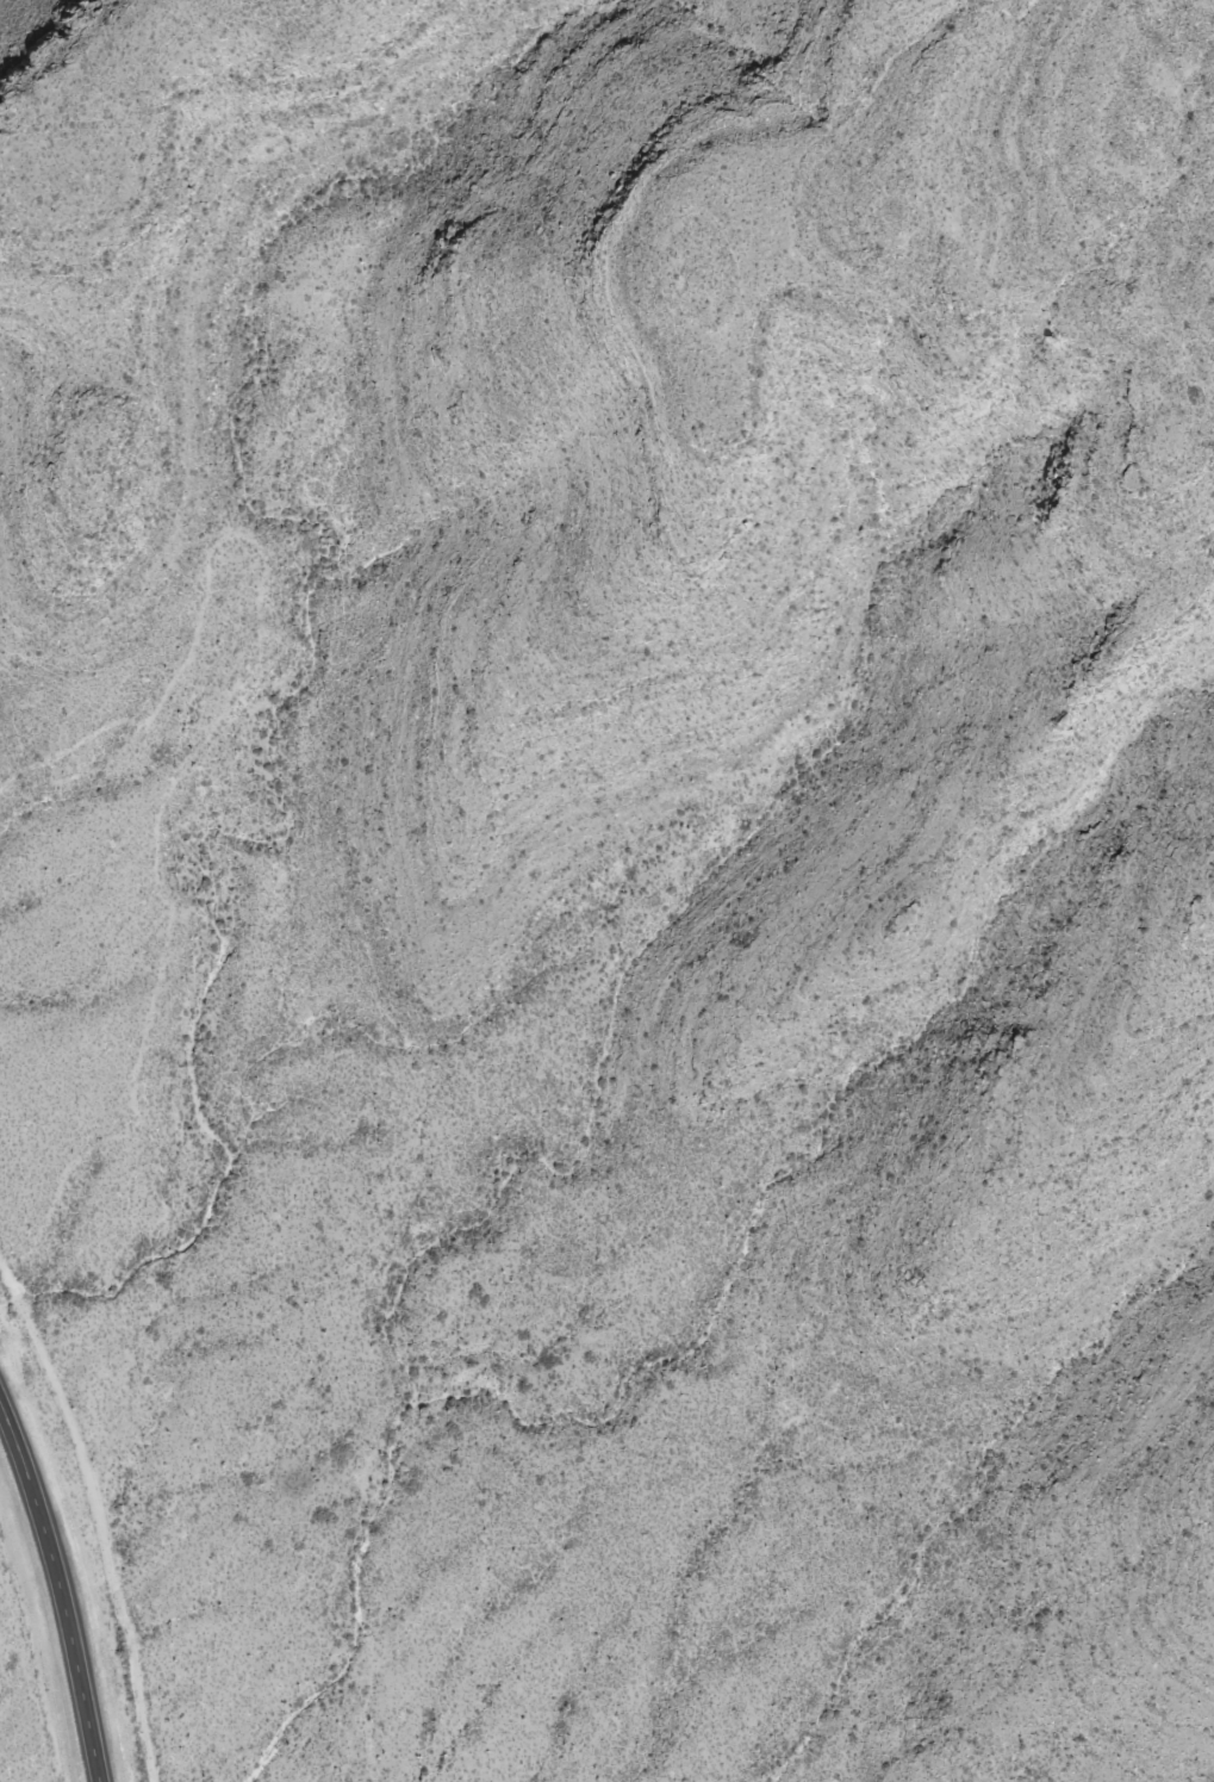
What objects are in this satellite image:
road: (69, 1567)

